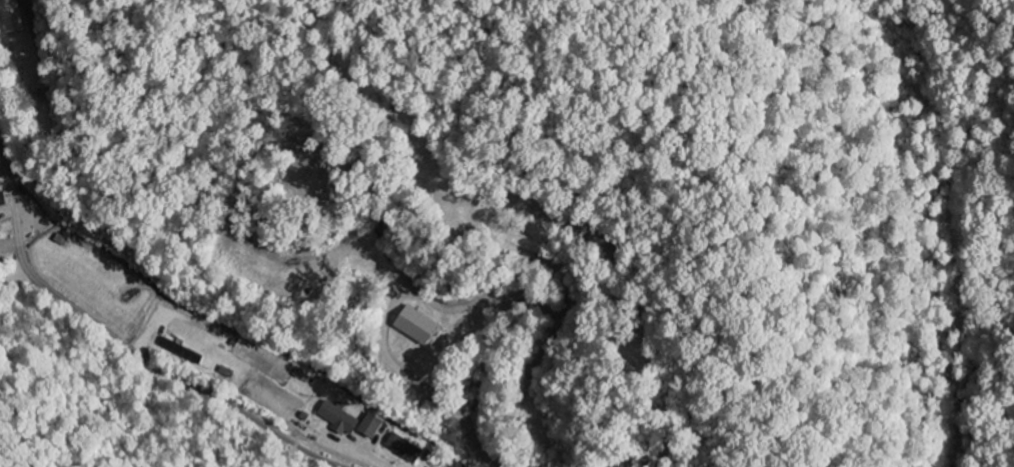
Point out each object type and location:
building: (18, 17)
road: (9, 187)
building: (4, 200)
building: (1, 229)
building: (423, 326)
building: (182, 353)
road: (157, 367)
building: (342, 419)
building: (374, 426)
building: (407, 449)

